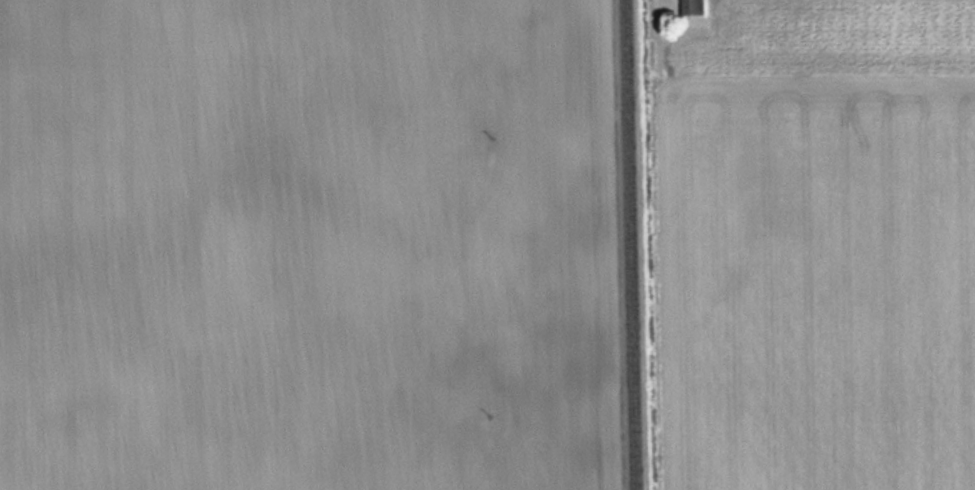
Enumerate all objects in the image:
building: (690, 6)
road: (634, 244)

